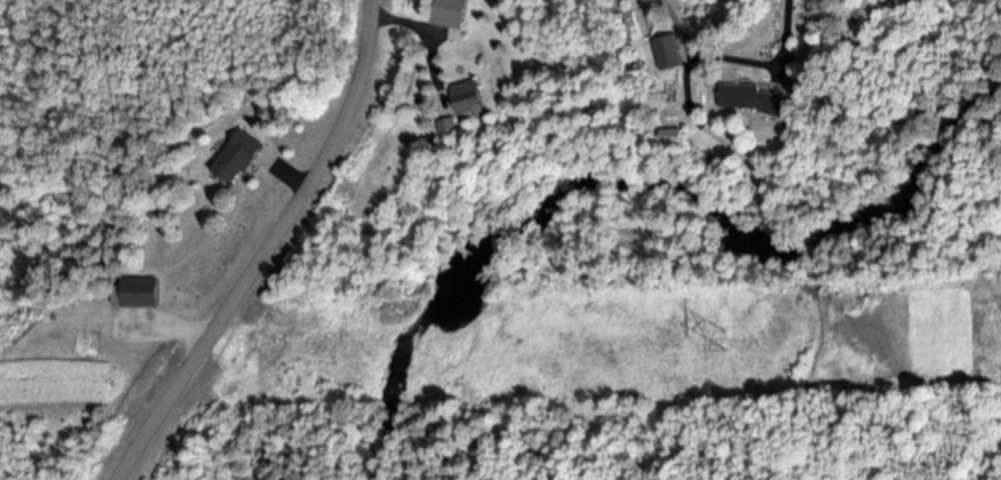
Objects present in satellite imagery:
building: (449, 13)
road: (787, 30)
road: (422, 37)
building: (668, 52)
road: (709, 56)
building: (465, 98)
building: (751, 99)
building: (444, 128)
building: (234, 157)
road: (285, 180)
river: (643, 194)
road: (261, 247)
building: (137, 292)
road: (167, 329)
power tower: (728, 338)

